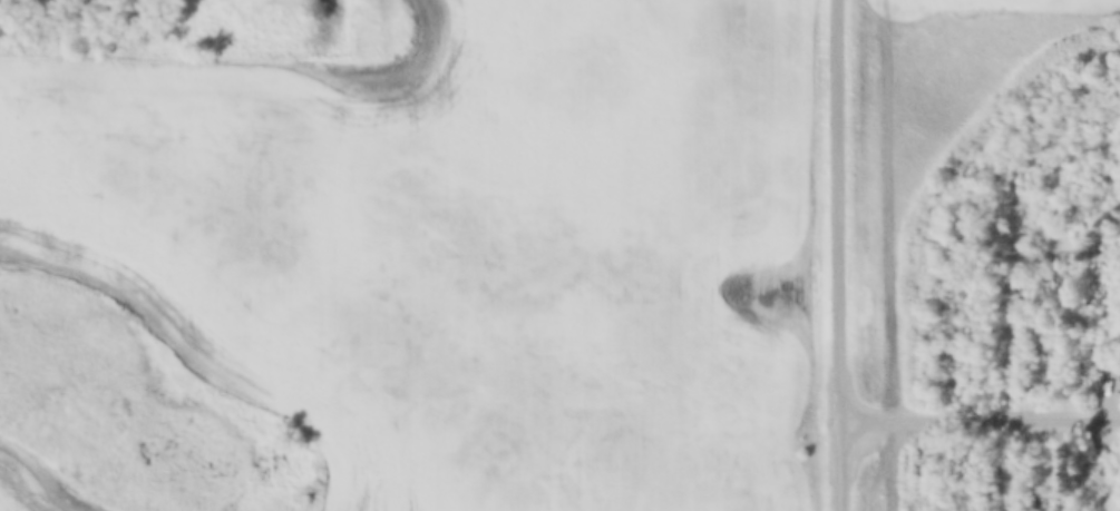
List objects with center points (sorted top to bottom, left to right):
road: (843, 255)
road: (981, 420)

